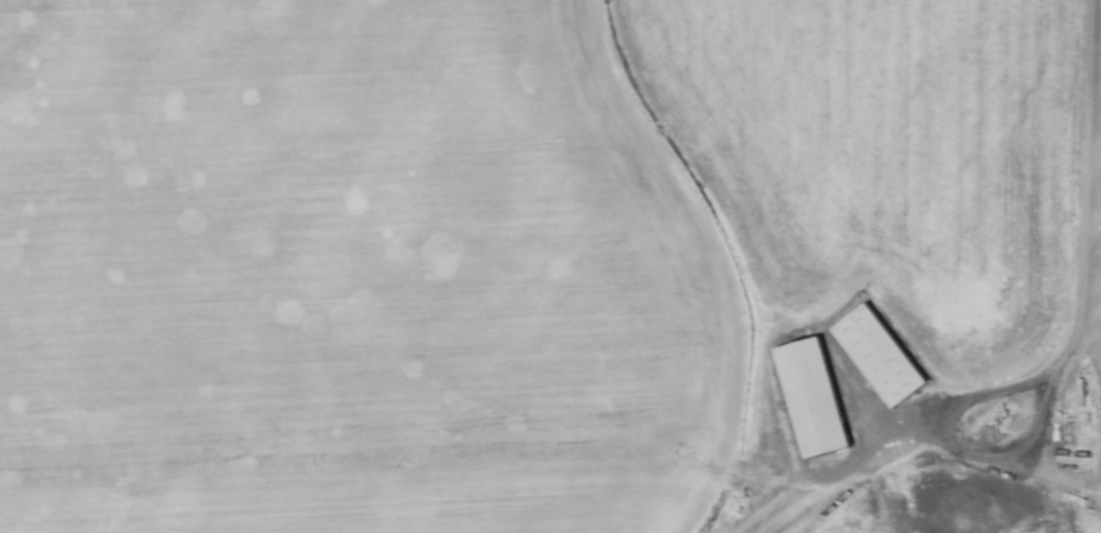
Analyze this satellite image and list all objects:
road: (1082, 232)
building: (880, 358)
building: (814, 402)
road: (949, 403)

